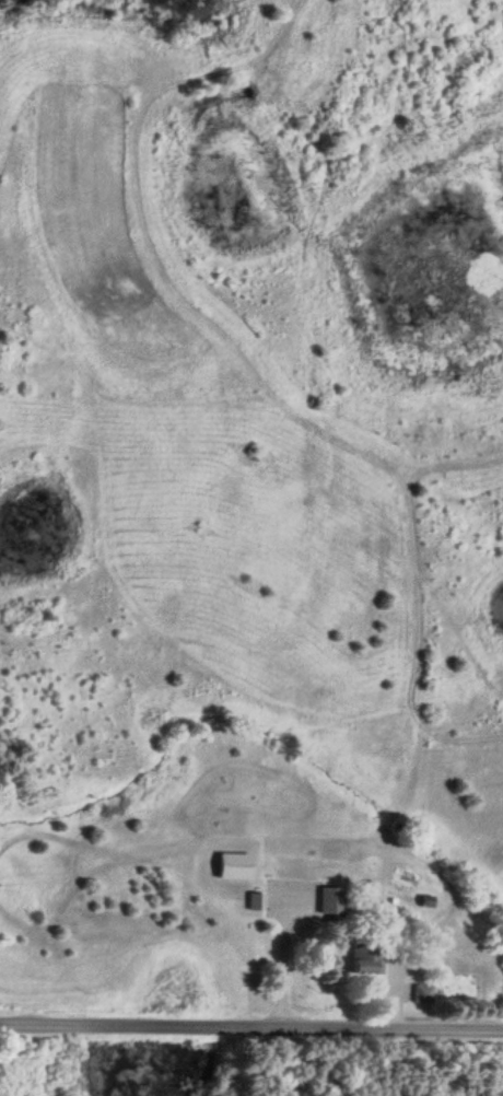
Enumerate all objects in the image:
building: (325, 899)
building: (253, 900)
building: (361, 956)
road: (250, 1025)

